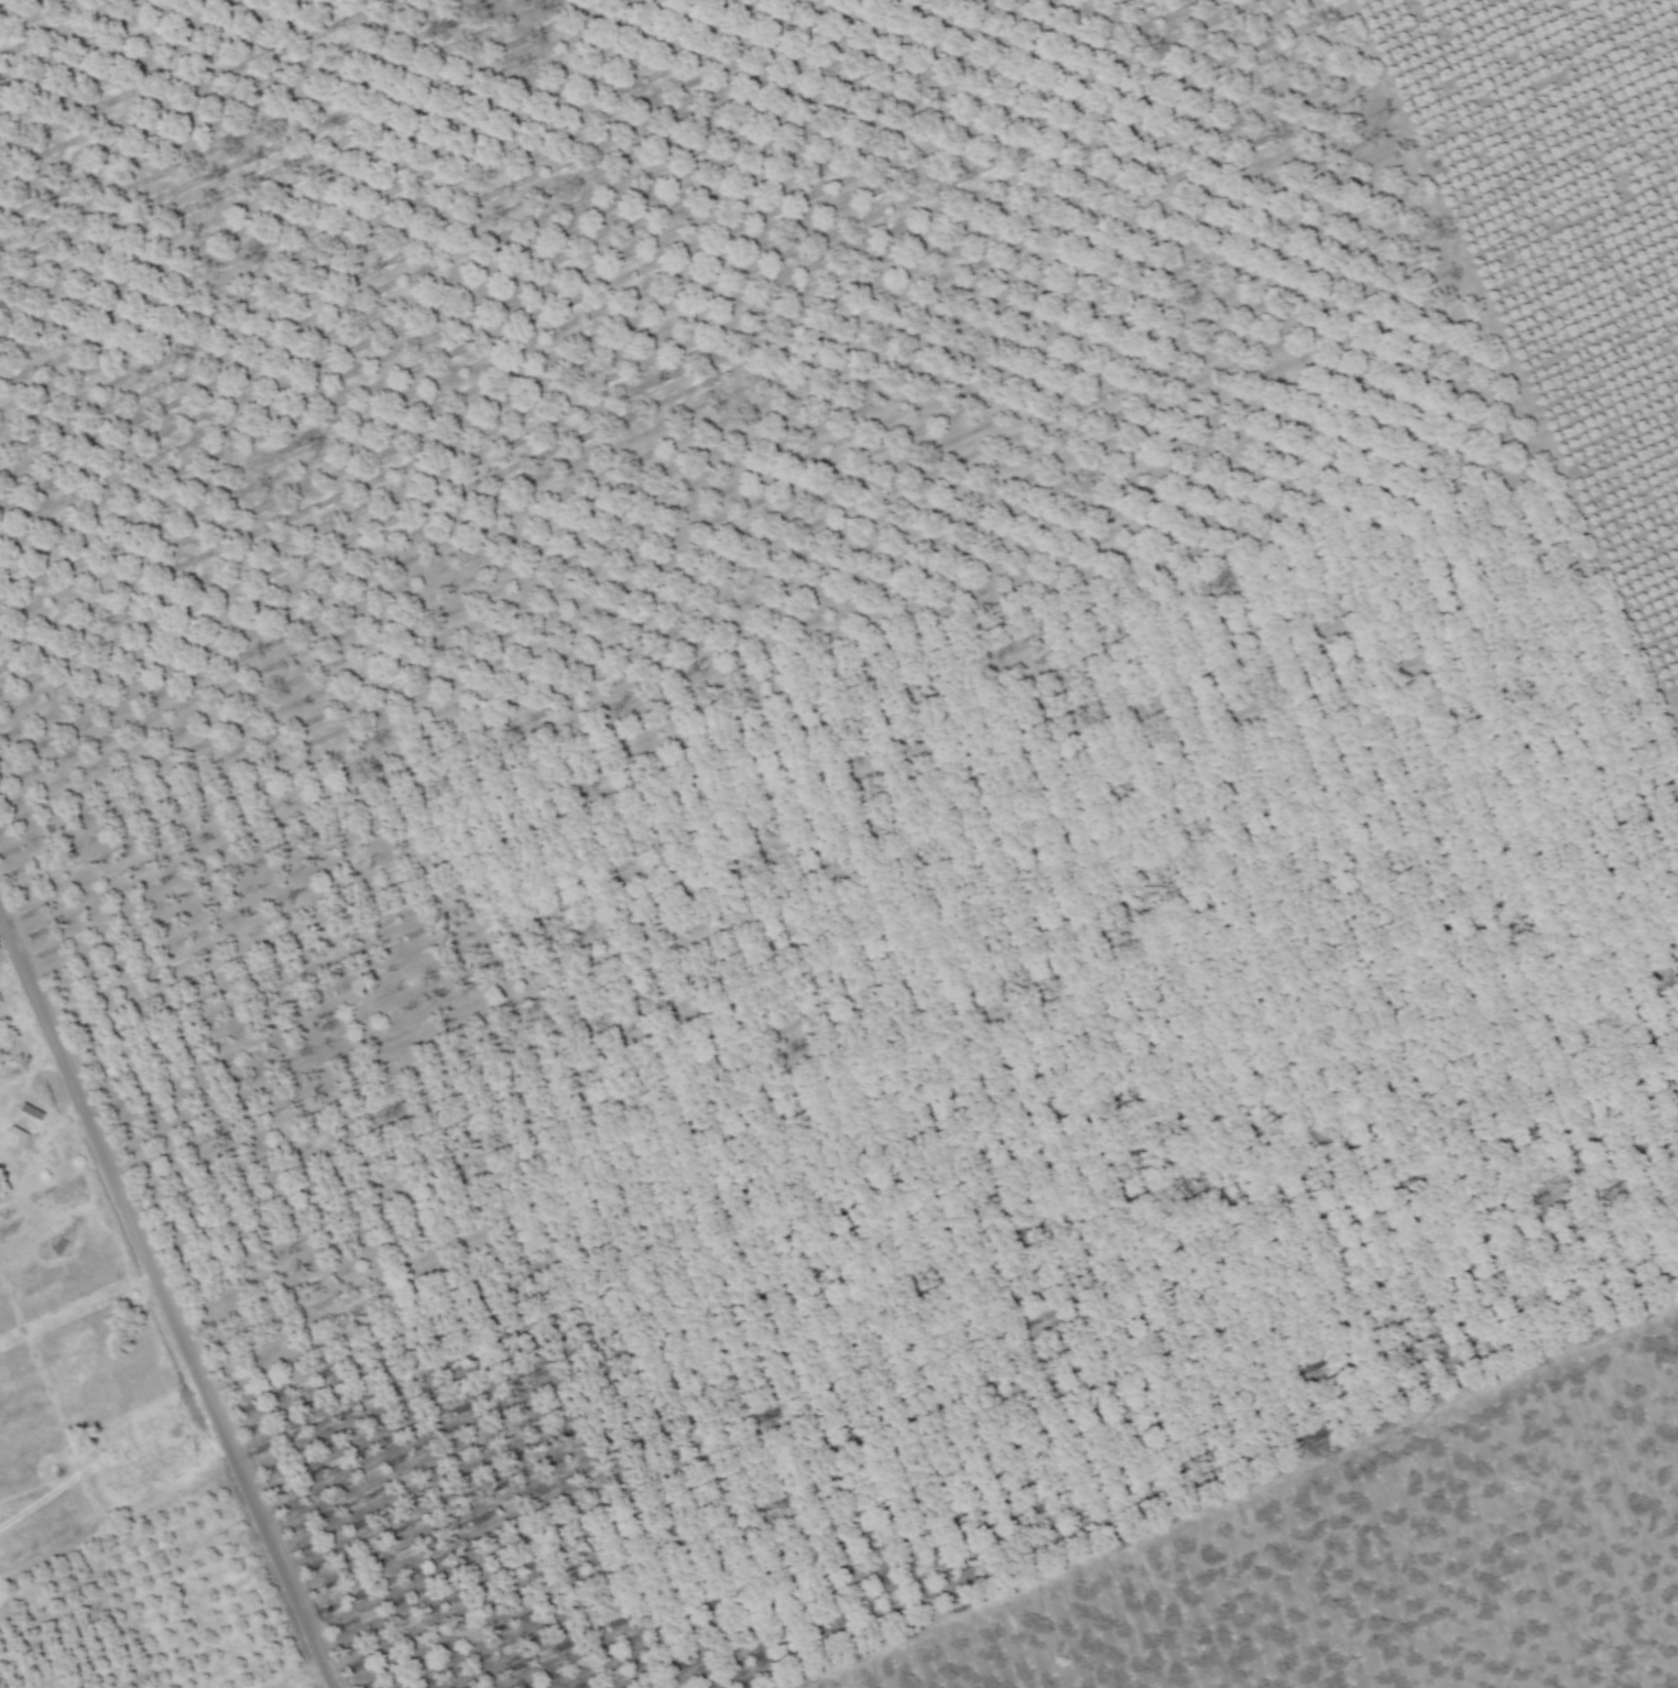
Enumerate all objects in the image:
road: (162, 1310)

